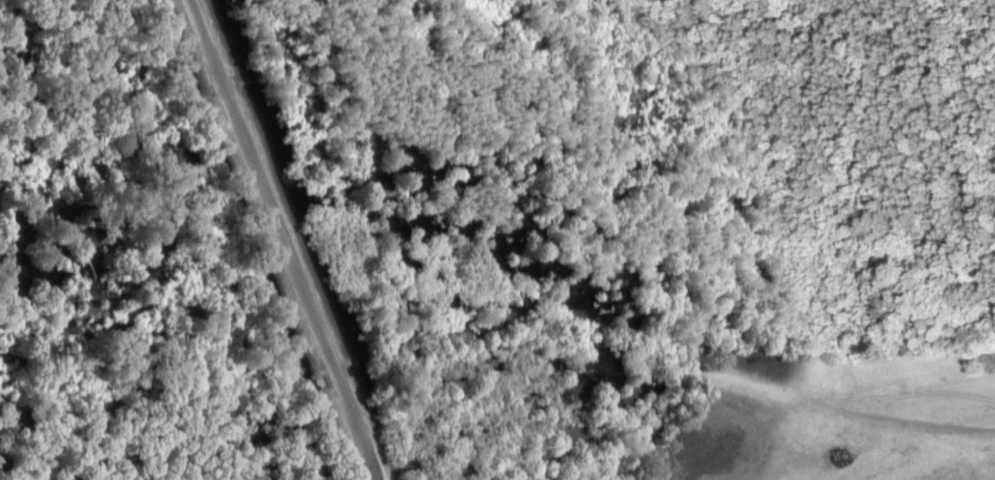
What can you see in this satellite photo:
road: (281, 239)

